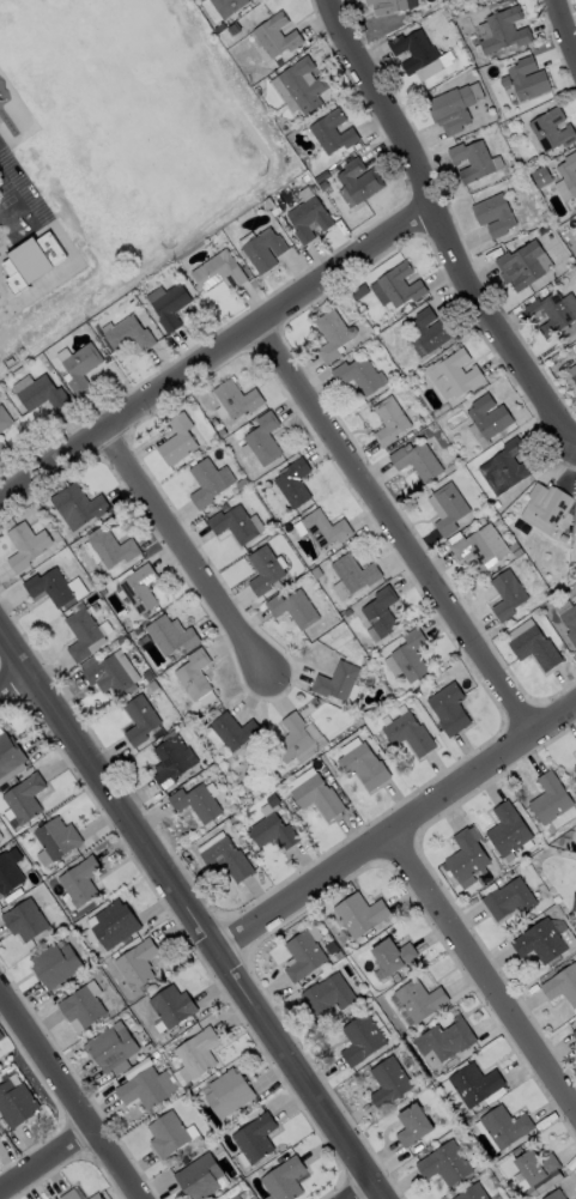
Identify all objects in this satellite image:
building: (392, 5)
building: (220, 7)
building: (501, 29)
road: (563, 32)
building: (274, 35)
building: (420, 54)
building: (525, 79)
building: (298, 87)
building: (449, 108)
building: (551, 129)
building: (332, 132)
building: (471, 159)
building: (540, 176)
building: (565, 176)
building: (356, 182)
building: (322, 184)
building: (267, 202)
building: (278, 212)
building: (493, 214)
building: (307, 216)
building: (575, 222)
road: (439, 231)
building: (262, 250)
building: (30, 260)
building: (522, 266)
building: (217, 272)
building: (398, 285)
building: (168, 307)
building: (552, 313)
building: (426, 332)
building: (331, 334)
building: (127, 335)
road: (213, 352)
building: (79, 367)
building: (572, 373)
building: (357, 375)
building: (453, 375)
building: (37, 392)
building: (234, 400)
building: (486, 417)
building: (5, 419)
building: (388, 420)
building: (261, 438)
building: (175, 441)
building: (1, 444)
building: (414, 461)
building: (504, 468)
building: (206, 482)
building: (293, 484)
building: (74, 507)
building: (445, 508)
building: (544, 508)
road: (398, 522)
building: (231, 525)
building: (575, 527)
building: (322, 529)
building: (24, 546)
building: (109, 547)
building: (478, 547)
road: (186, 553)
building: (262, 570)
building: (351, 576)
building: (54, 588)
building: (137, 588)
building: (507, 595)
building: (292, 610)
building: (378, 614)
building: (568, 622)
building: (81, 634)
building: (168, 635)
building: (534, 649)
building: (407, 659)
building: (192, 674)
building: (108, 678)
road: (13, 680)
building: (335, 682)
building: (447, 709)
building: (138, 721)
building: (231, 731)
building: (407, 734)
building: (297, 740)
building: (575, 751)
building: (10, 755)
building: (169, 761)
building: (362, 765)
building: (574, 771)
building: (24, 795)
building: (316, 799)
building: (551, 801)
building: (196, 803)
building: (271, 829)
road: (395, 829)
building: (504, 830)
building: (56, 835)
building: (0, 836)
building: (463, 856)
building: (223, 859)
building: (10, 868)
building: (79, 878)
building: (507, 900)
building: (572, 902)
building: (359, 910)
road: (186, 914)
building: (24, 918)
building: (113, 920)
building: (538, 941)
building: (305, 951)
building: (394, 951)
building: (137, 961)
building: (56, 962)
road: (481, 968)
building: (562, 986)
building: (328, 992)
building: (419, 998)
building: (83, 1003)
building: (171, 1004)
building: (363, 1035)
building: (574, 1035)
building: (444, 1038)
building: (113, 1043)
building: (196, 1052)
building: (390, 1079)
building: (477, 1083)
building: (144, 1086)
building: (230, 1090)
building: (17, 1102)
road: (67, 1102)
building: (414, 1121)
building: (505, 1124)
building: (168, 1132)
building: (255, 1136)
building: (0, 1138)
road: (44, 1159)
building: (445, 1162)
building: (538, 1162)
building: (200, 1175)
building: (284, 1177)
building: (473, 1192)
building: (71, 1194)
building: (554, 1194)
building: (236, 1195)
building: (96, 1197)
road: (364, 1197)
building: (575, 1198)

